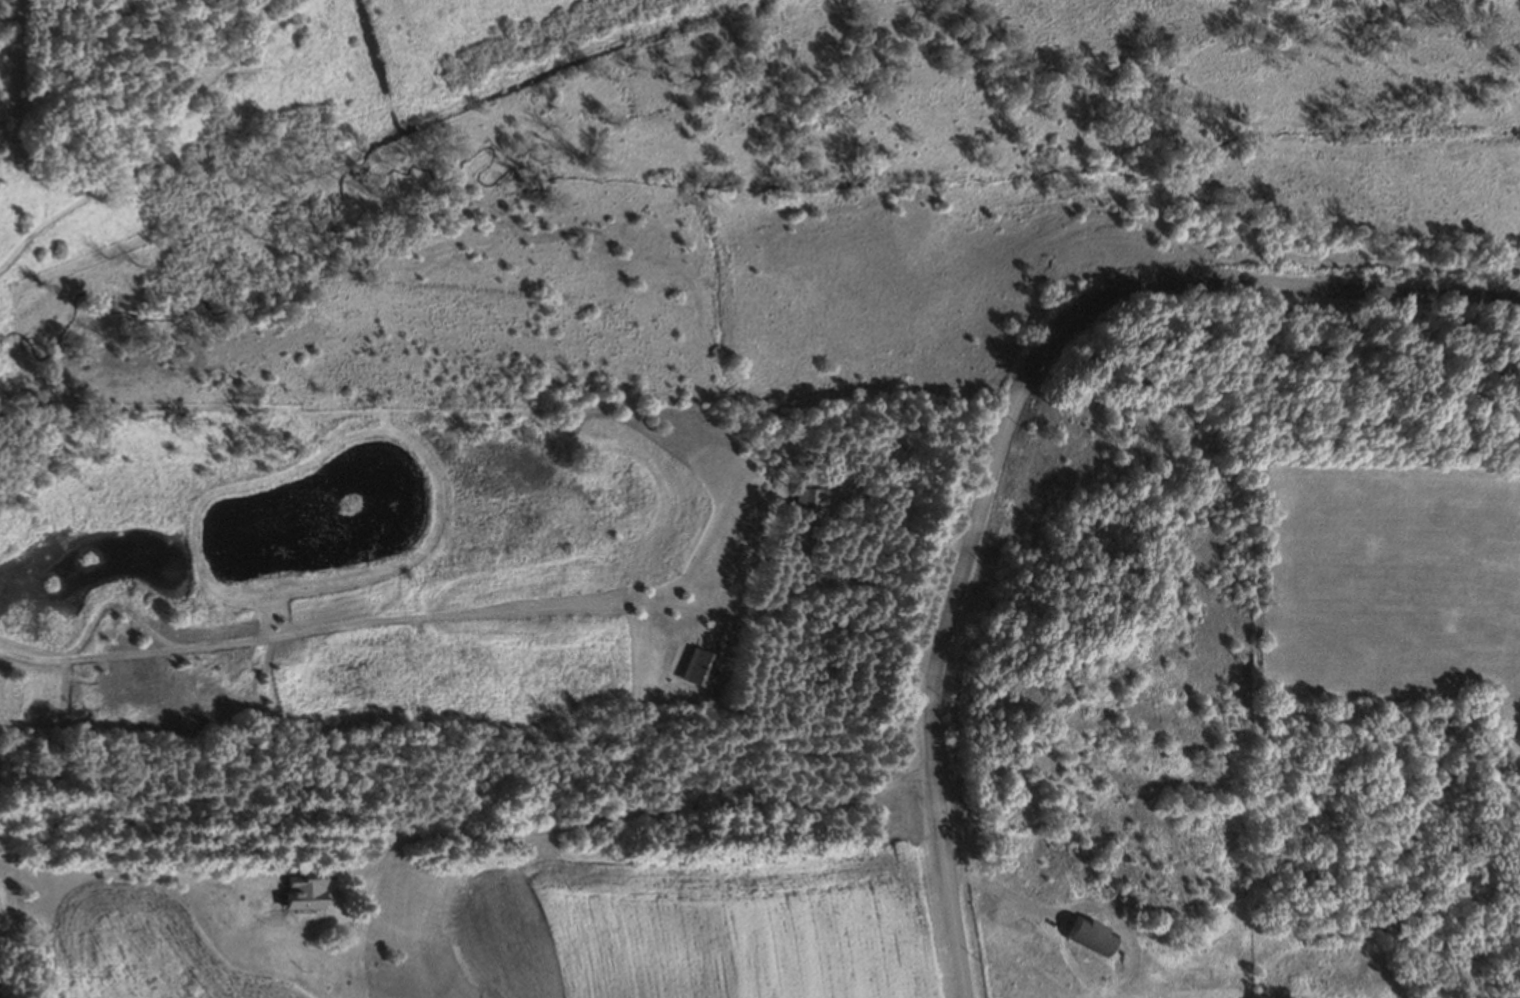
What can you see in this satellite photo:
road: (1005, 422)
building: (806, 499)
building: (698, 669)
building: (296, 891)
building: (1087, 935)

